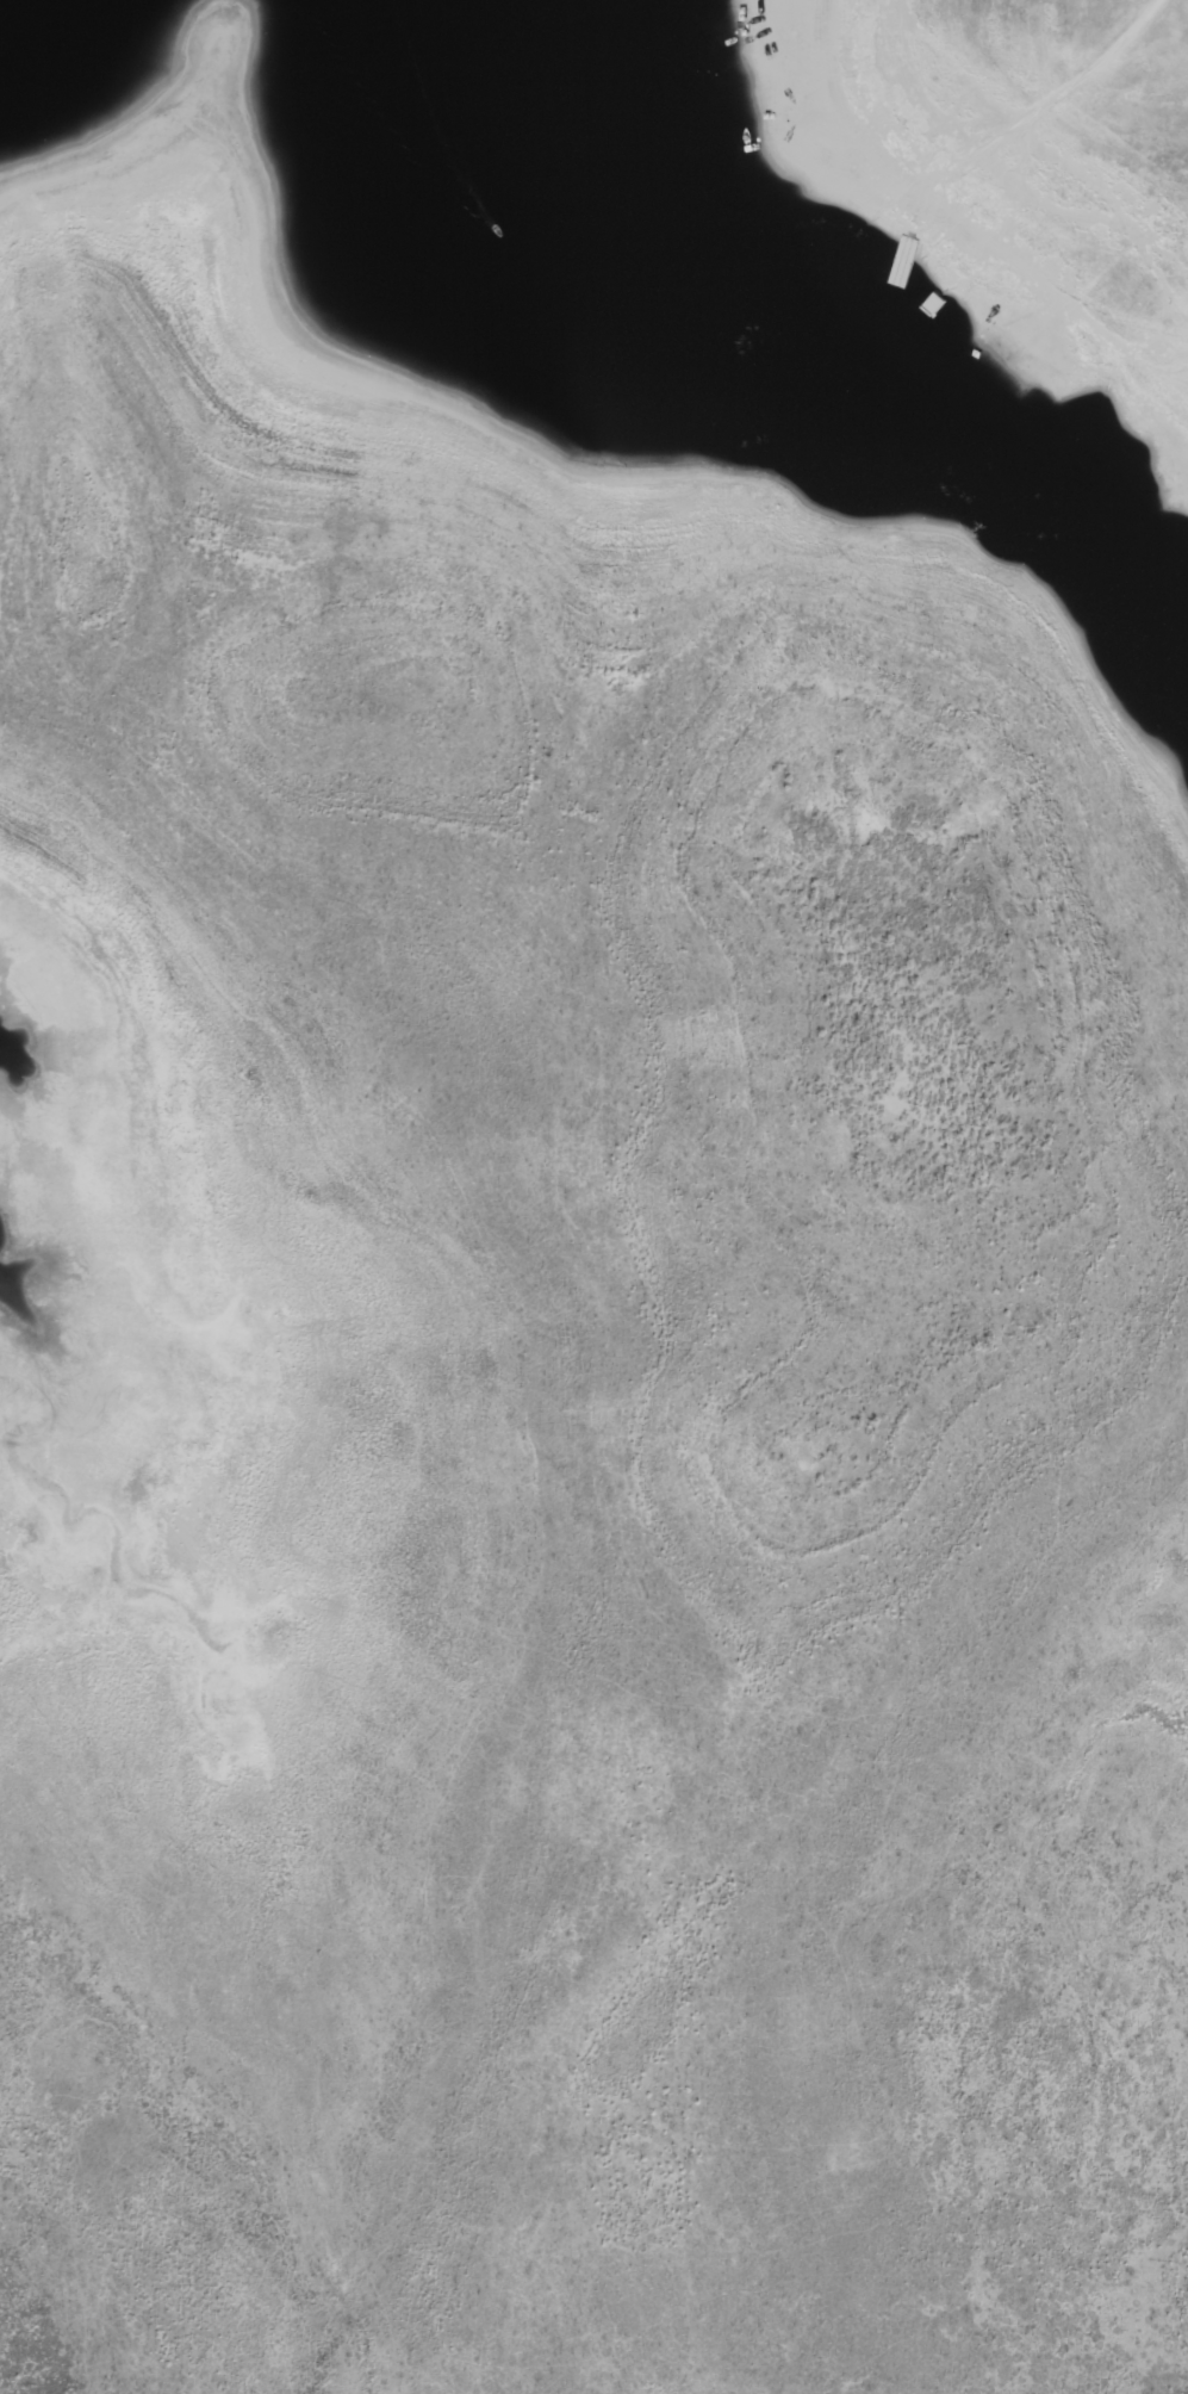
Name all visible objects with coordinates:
building: (894, 285)

